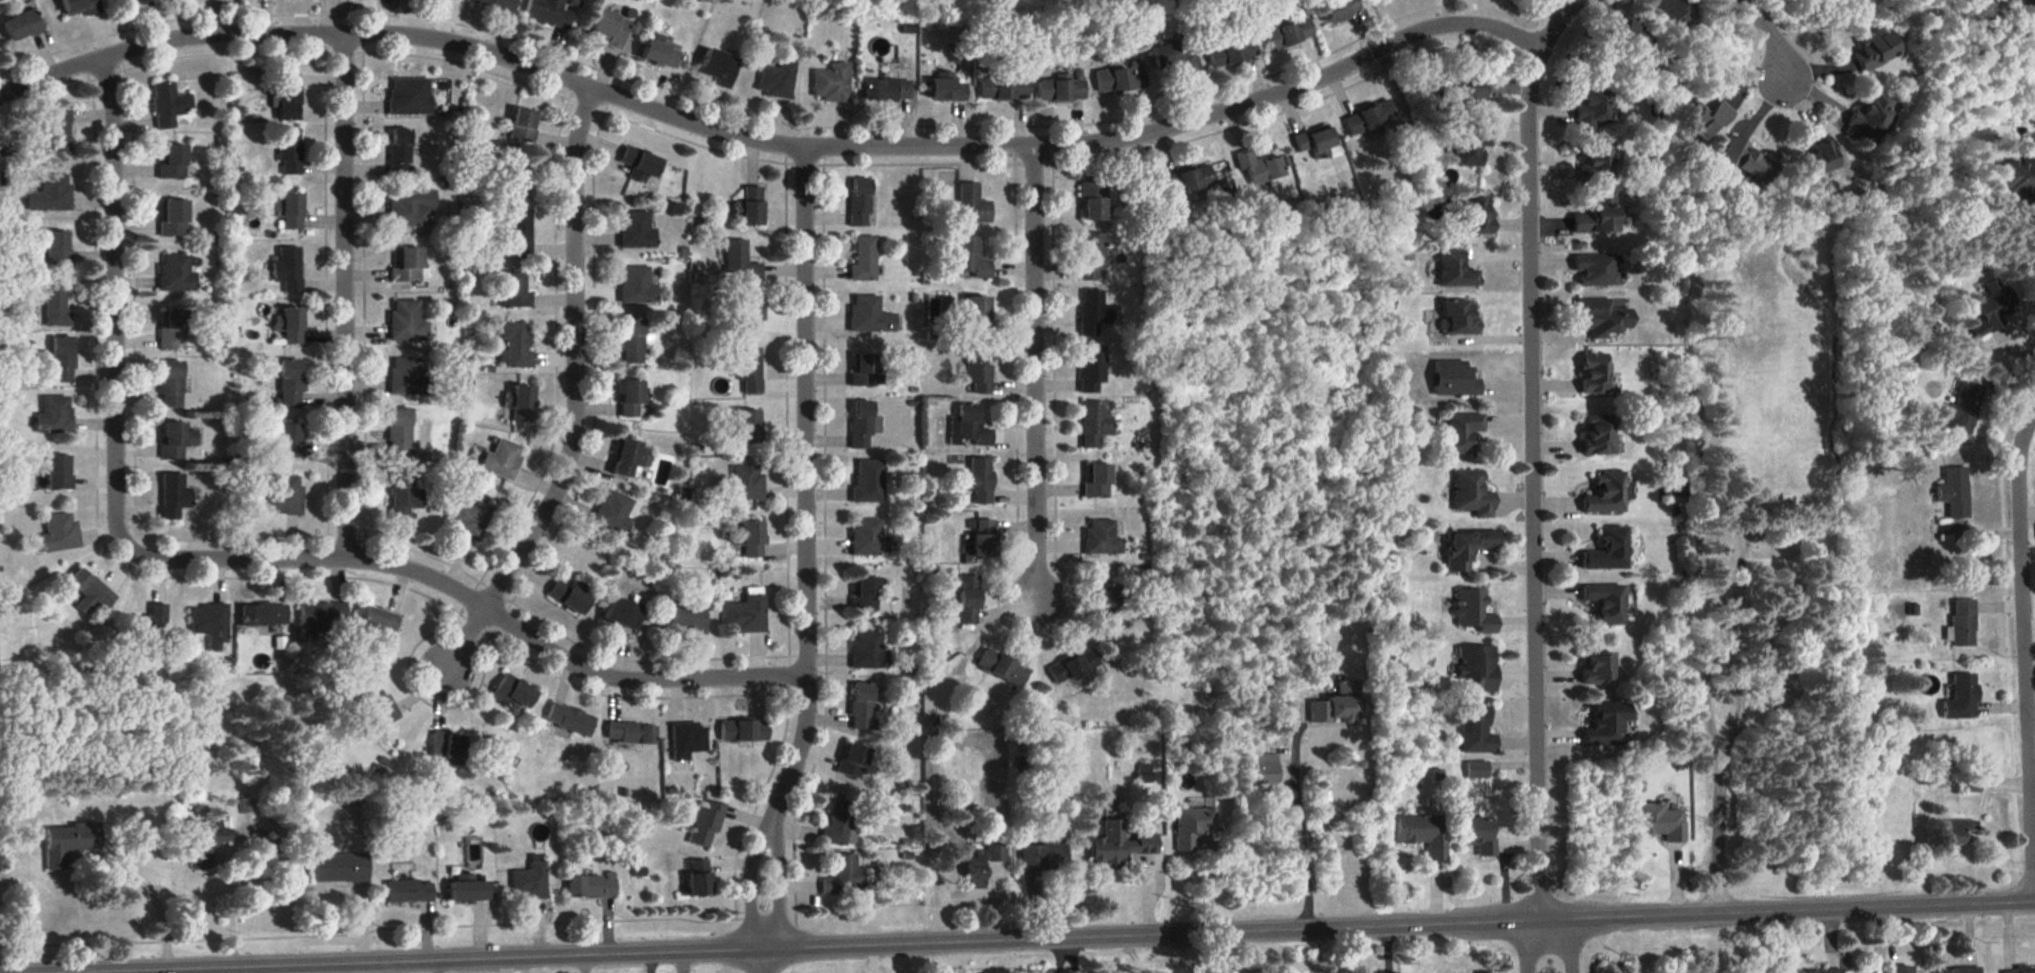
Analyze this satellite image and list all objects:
building: (130, 2)
building: (495, 4)
building: (78, 7)
building: (1337, 9)
building: (545, 13)
building: (1676, 13)
building: (20, 26)
road: (2026, 26)
building: (608, 29)
building: (1286, 34)
building: (1632, 36)
road: (1770, 37)
building: (1873, 49)
building: (658, 53)
building: (1231, 53)
building: (1174, 60)
building: (717, 65)
building: (775, 80)
building: (1115, 81)
building: (830, 84)
building: (1005, 87)
building: (944, 89)
building: (886, 90)
building: (1060, 90)
building: (408, 96)
building: (287, 97)
building: (1462, 97)
building: (164, 103)
building: (1591, 104)
building: (1868, 114)
building: (1370, 118)
building: (1704, 120)
building: (520, 124)
building: (58, 134)
building: (1314, 142)
road: (798, 145)
building: (1468, 146)
building: (288, 152)
building: (398, 152)
building: (1742, 158)
building: (1817, 158)
building: (171, 162)
building: (1596, 162)
building: (638, 164)
building: (1259, 169)
building: (2018, 174)
building: (1189, 181)
building: (512, 182)
building: (49, 194)
building: (859, 202)
building: (1092, 202)
building: (972, 205)
building: (750, 206)
building: (285, 207)
building: (411, 208)
building: (1596, 215)
building: (1474, 216)
building: (172, 218)
building: (635, 230)
building: (519, 234)
building: (55, 247)
building: (1091, 257)
building: (969, 258)
building: (863, 259)
building: (738, 262)
building: (407, 266)
building: (286, 269)
building: (1454, 269)
building: (1594, 271)
building: (174, 273)
building: (636, 286)
building: (512, 291)
road: (344, 295)
building: (55, 305)
building: (1992, 308)
building: (1092, 313)
building: (868, 315)
building: (751, 316)
building: (976, 316)
building: (1458, 317)
building: (1603, 318)
building: (405, 321)
building: (288, 325)
building: (173, 329)
building: (632, 341)
road: (2004, 343)
building: (514, 346)
building: (61, 360)
building: (976, 369)
building: (1092, 370)
building: (749, 371)
building: (863, 371)
building: (1595, 374)
building: (406, 376)
building: (1454, 379)
road: (1035, 382)
building: (289, 383)
building: (170, 384)
road: (575, 396)
building: (630, 398)
building: (518, 403)
building: (1963, 408)
building: (53, 416)
building: (861, 424)
building: (1095, 425)
building: (748, 427)
building: (967, 428)
building: (398, 432)
building: (1461, 432)
building: (1599, 435)
building: (174, 440)
building: (287, 441)
building: (501, 459)
building: (627, 459)
building: (57, 472)
building: (978, 480)
building: (867, 481)
building: (1096, 481)
road: (1533, 481)
building: (745, 483)
road: (805, 491)
building: (1953, 492)
building: (1472, 493)
building: (1606, 493)
building: (172, 495)
building: (404, 496)
building: (281, 497)
building: (611, 513)
building: (468, 519)
building: (59, 534)
building: (867, 538)
building: (1100, 538)
building: (750, 540)
building: (979, 541)
park: (1762, 544)
building: (1466, 548)
building: (1608, 551)
road: (232, 558)
building: (90, 588)
building: (868, 595)
building: (567, 598)
building: (968, 600)
building: (1107, 603)
building: (1604, 603)
building: (1472, 612)
building: (262, 614)
building: (622, 614)
building: (744, 614)
building: (687, 617)
building: (321, 618)
building: (150, 622)
building: (376, 623)
building: (1963, 623)
building: (210, 624)
building: (867, 651)
road: (2024, 653)
building: (1477, 666)
building: (1074, 667)
building: (1596, 668)
building: (1002, 669)
building: (512, 694)
building: (1961, 698)
building: (1336, 704)
building: (862, 707)
building: (376, 709)
building: (569, 719)
road: (1731, 719)
building: (1606, 726)
building: (742, 731)
building: (1476, 731)
building: (630, 733)
building: (687, 739)
building: (445, 747)
building: (852, 761)
building: (1264, 767)
building: (1476, 770)
building: (1143, 771)
building: (1971, 785)
building: (245, 806)
building: (1656, 820)
building: (837, 823)
building: (704, 824)
building: (1192, 826)
road: (1297, 828)
building: (1956, 832)
building: (1417, 833)
building: (1476, 835)
building: (274, 837)
building: (65, 841)
building: (1119, 844)
building: (203, 845)
building: (1043, 858)
building: (336, 866)
building: (982, 866)
road: (135, 871)
building: (844, 877)
building: (693, 878)
building: (526, 881)
building: (587, 885)
road: (747, 888)
building: (405, 889)
building: (464, 889)
road: (775, 892)
road: (229, 900)
road: (1021, 937)
road: (1563, 941)
road: (1530, 943)
road: (761, 960)
road: (211, 969)
building: (1897, 969)
building: (1958, 969)
building: (2020, 969)
building: (1823, 970)

